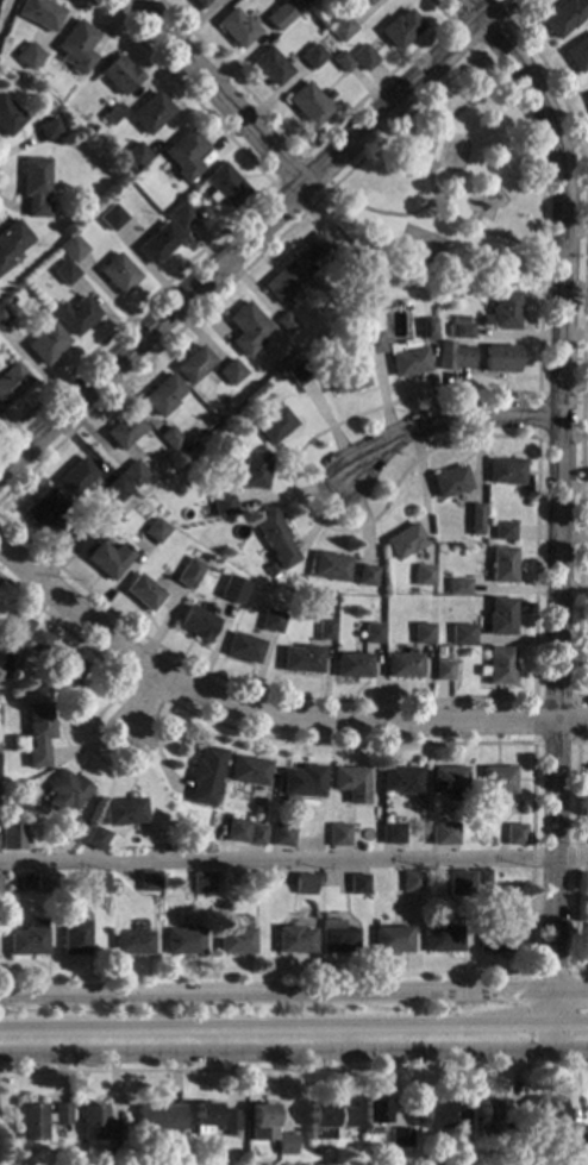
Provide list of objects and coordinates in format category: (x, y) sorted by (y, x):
building: (307, 1)
building: (200, 2)
building: (367, 2)
road: (469, 10)
building: (290, 12)
building: (39, 13)
building: (565, 17)
building: (277, 19)
building: (237, 29)
building: (340, 29)
building: (400, 30)
building: (0, 38)
building: (77, 46)
road: (477, 51)
building: (578, 55)
building: (29, 57)
building: (312, 57)
building: (363, 58)
building: (342, 62)
building: (270, 67)
building: (120, 76)
road: (213, 90)
building: (587, 99)
building: (309, 105)
building: (45, 106)
building: (113, 114)
building: (151, 114)
building: (8, 118)
building: (48, 130)
road: (309, 151)
building: (186, 155)
building: (136, 156)
road: (305, 156)
building: (129, 170)
road: (430, 174)
building: (226, 186)
park: (452, 186)
building: (36, 187)
building: (181, 217)
building: (112, 218)
road: (232, 221)
road: (250, 232)
road: (489, 234)
building: (12, 243)
building: (158, 244)
park: (420, 246)
building: (71, 249)
building: (314, 252)
building: (351, 261)
building: (65, 274)
building: (119, 274)
building: (283, 283)
building: (8, 300)
building: (503, 312)
building: (75, 315)
building: (4, 317)
building: (287, 324)
building: (426, 328)
building: (248, 330)
building: (462, 332)
road: (582, 339)
building: (373, 343)
building: (46, 344)
building: (461, 358)
building: (500, 359)
building: (406, 361)
building: (194, 365)
building: (231, 372)
building: (299, 374)
building: (344, 377)
building: (12, 382)
road: (538, 394)
building: (163, 396)
road: (442, 418)
building: (275, 426)
building: (125, 431)
road: (325, 431)
building: (171, 438)
building: (255, 470)
building: (506, 471)
building: (135, 474)
building: (76, 477)
building: (450, 482)
building: (118, 490)
building: (223, 506)
building: (44, 509)
building: (475, 519)
road: (558, 521)
building: (144, 525)
building: (156, 531)
building: (505, 532)
building: (275, 539)
building: (405, 541)
building: (76, 543)
building: (108, 559)
building: (502, 565)
building: (330, 568)
building: (270, 571)
building: (189, 574)
building: (367, 576)
building: (424, 576)
building: (458, 587)
building: (232, 590)
building: (143, 594)
building: (500, 618)
building: (271, 621)
building: (196, 624)
building: (19, 627)
building: (325, 631)
building: (373, 634)
building: (423, 634)
building: (462, 635)
building: (38, 643)
building: (244, 649)
building: (4, 659)
building: (301, 659)
building: (404, 665)
building: (352, 666)
building: (499, 668)
building: (443, 671)
building: (65, 675)
road: (169, 702)
road: (142, 706)
road: (268, 715)
building: (38, 735)
road: (534, 743)
road: (533, 749)
building: (249, 771)
building: (206, 777)
building: (587, 778)
building: (401, 781)
building: (498, 781)
building: (302, 782)
building: (350, 782)
building: (450, 782)
building: (65, 793)
building: (125, 814)
building: (73, 829)
building: (231, 831)
building: (392, 834)
building: (515, 834)
building: (255, 835)
building: (281, 835)
building: (338, 835)
building: (444, 835)
building: (11, 838)
building: (95, 839)
road: (574, 859)
road: (293, 860)
building: (481, 881)
building: (149, 882)
building: (255, 882)
building: (44, 883)
building: (411, 883)
building: (459, 883)
building: (96, 884)
building: (304, 884)
building: (357, 884)
building: (201, 888)
building: (498, 926)
building: (587, 935)
building: (73, 938)
building: (336, 938)
building: (26, 939)
building: (390, 939)
building: (443, 939)
building: (294, 940)
building: (233, 941)
building: (182, 942)
building: (130, 944)
road: (294, 991)
road: (530, 998)
road: (293, 1026)
road: (293, 1050)
road: (294, 1069)
building: (546, 1109)
building: (432, 1116)
building: (373, 1117)
building: (489, 1117)
building: (157, 1119)
building: (204, 1119)
building: (346, 1119)
building: (39, 1121)
building: (227, 1122)
building: (319, 1122)
building: (461, 1122)
building: (92, 1123)
building: (259, 1123)
building: (517, 1123)
building: (113, 1130)
building: (575, 1135)
building: (399, 1139)
building: (284, 1145)
road: (2, 1150)

